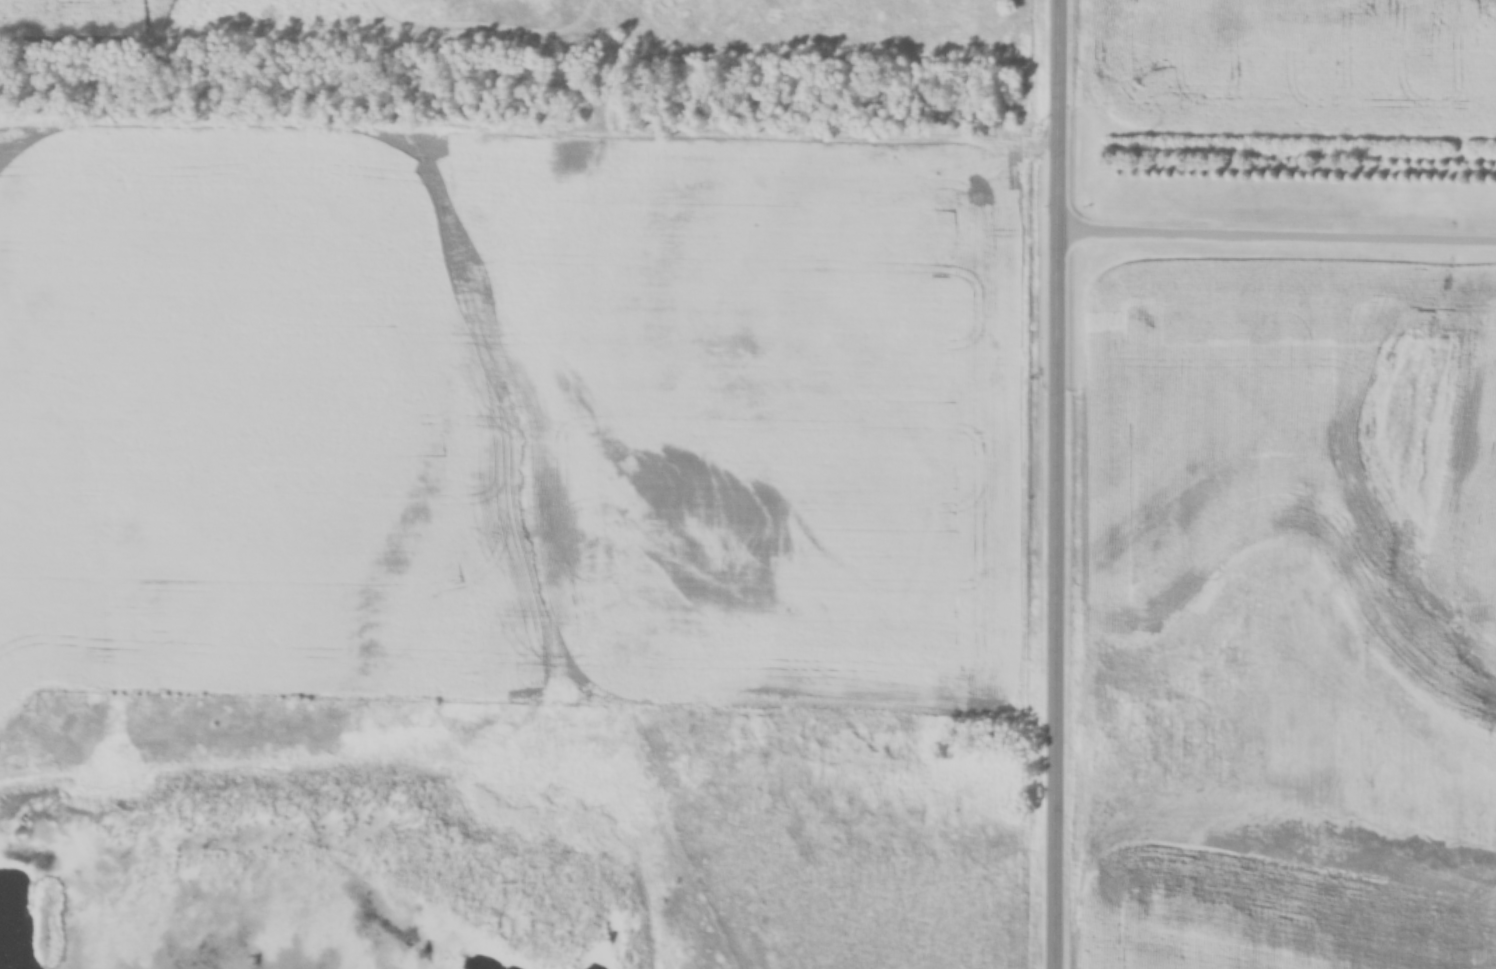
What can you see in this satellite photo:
road: (1278, 236)
road: (1059, 484)

